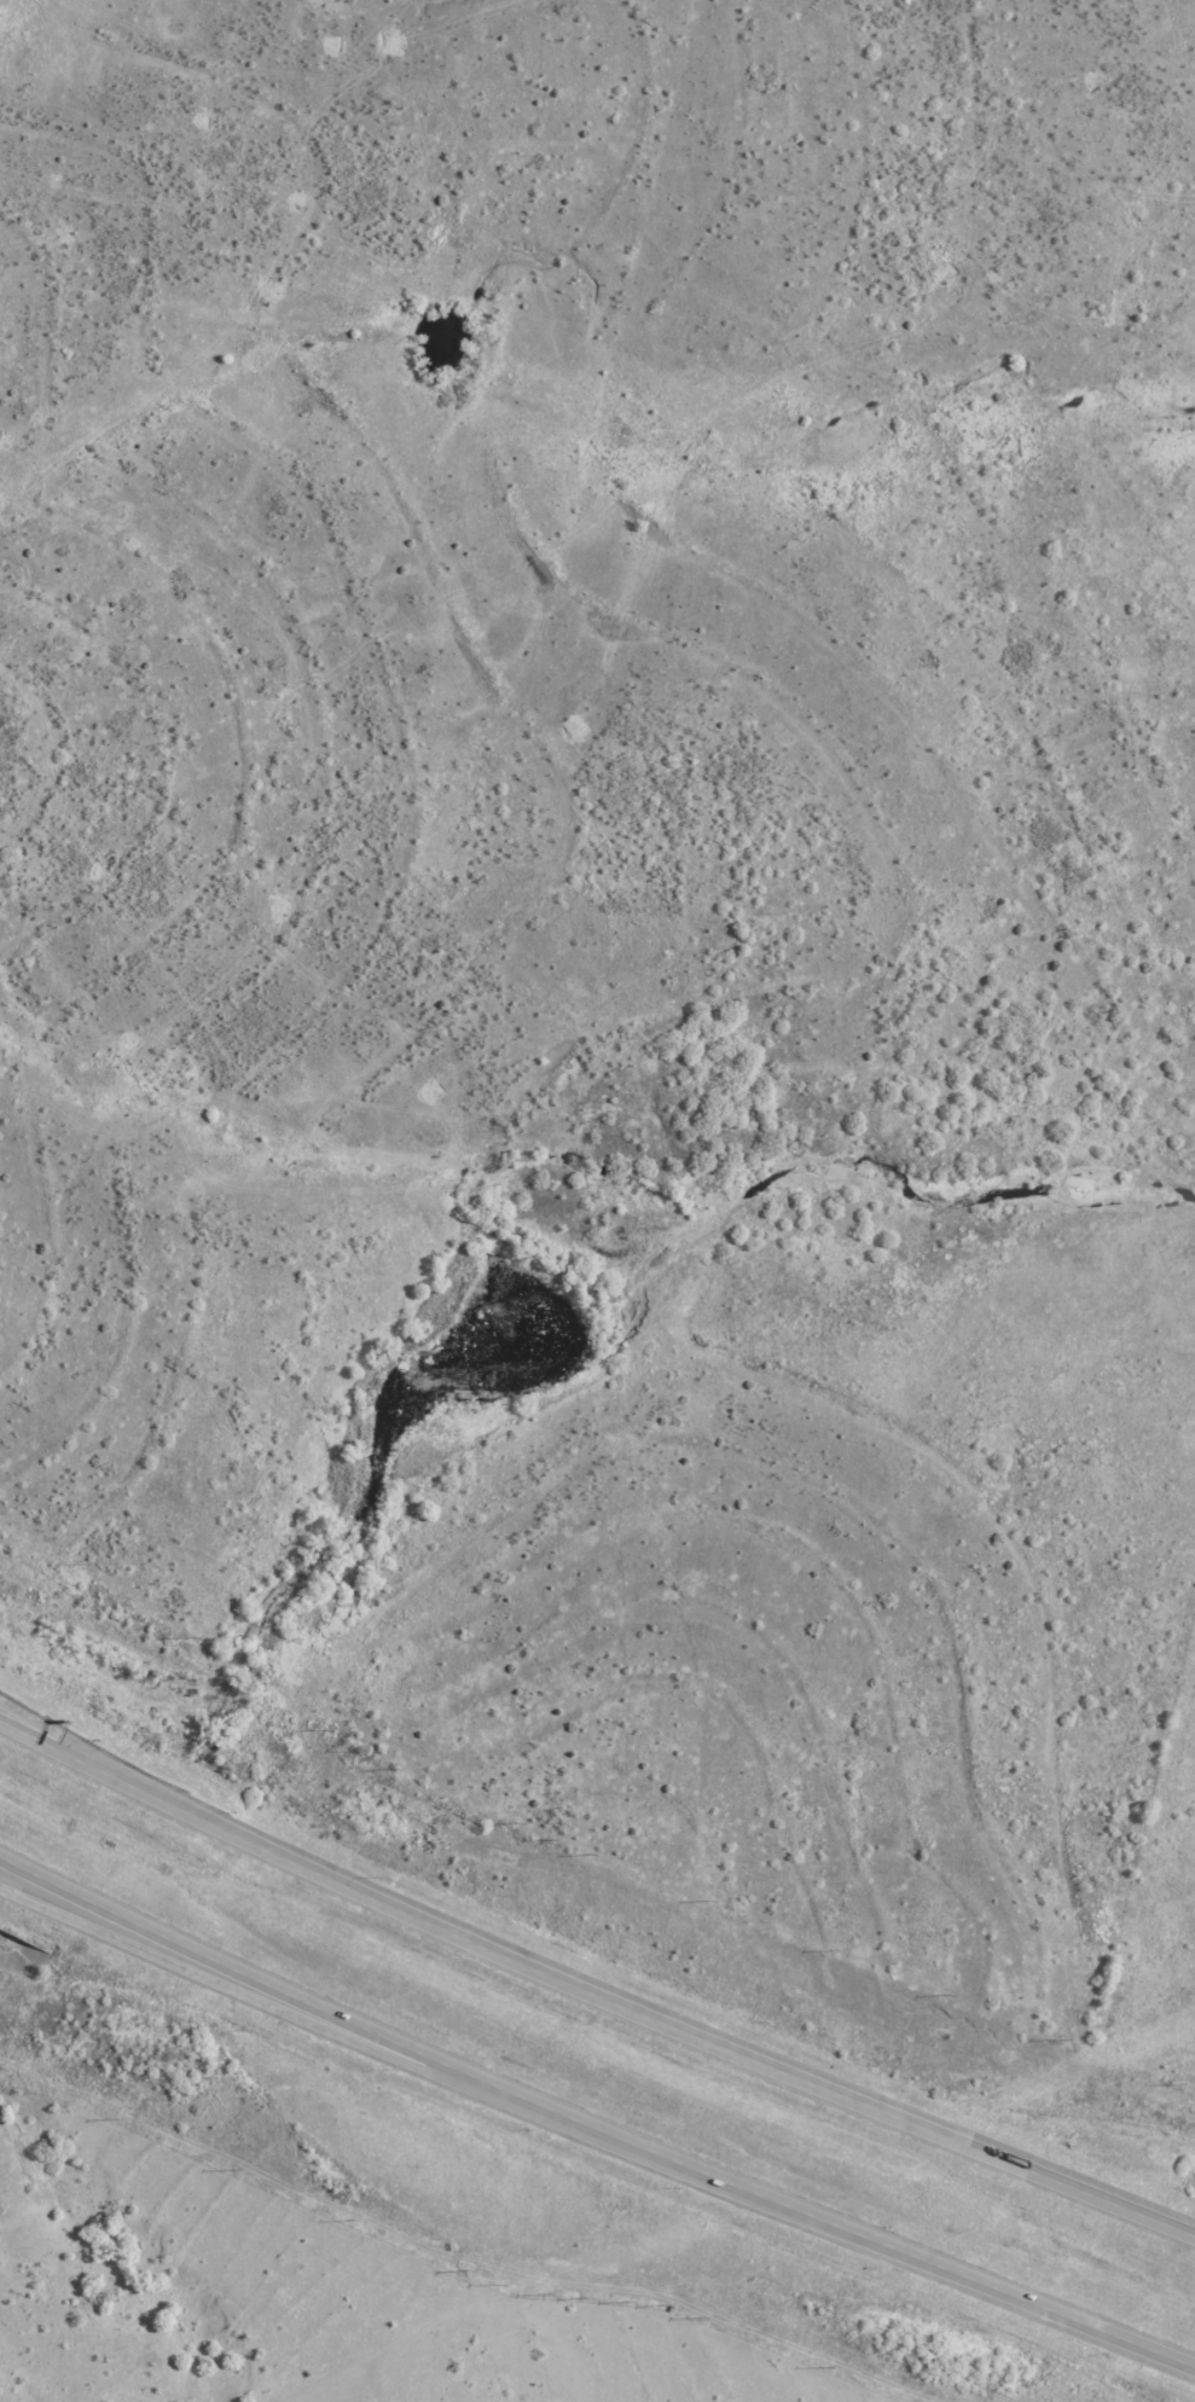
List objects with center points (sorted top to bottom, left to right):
road: (172, 93)
road: (259, 143)
road: (500, 237)
road: (1, 423)
road: (323, 443)
road: (672, 478)
road: (169, 632)
road: (338, 673)
road: (128, 884)
road: (296, 1026)
road: (58, 1739)
road: (58, 1747)
road: (199, 1972)
road: (649, 2021)
road: (590, 2127)

